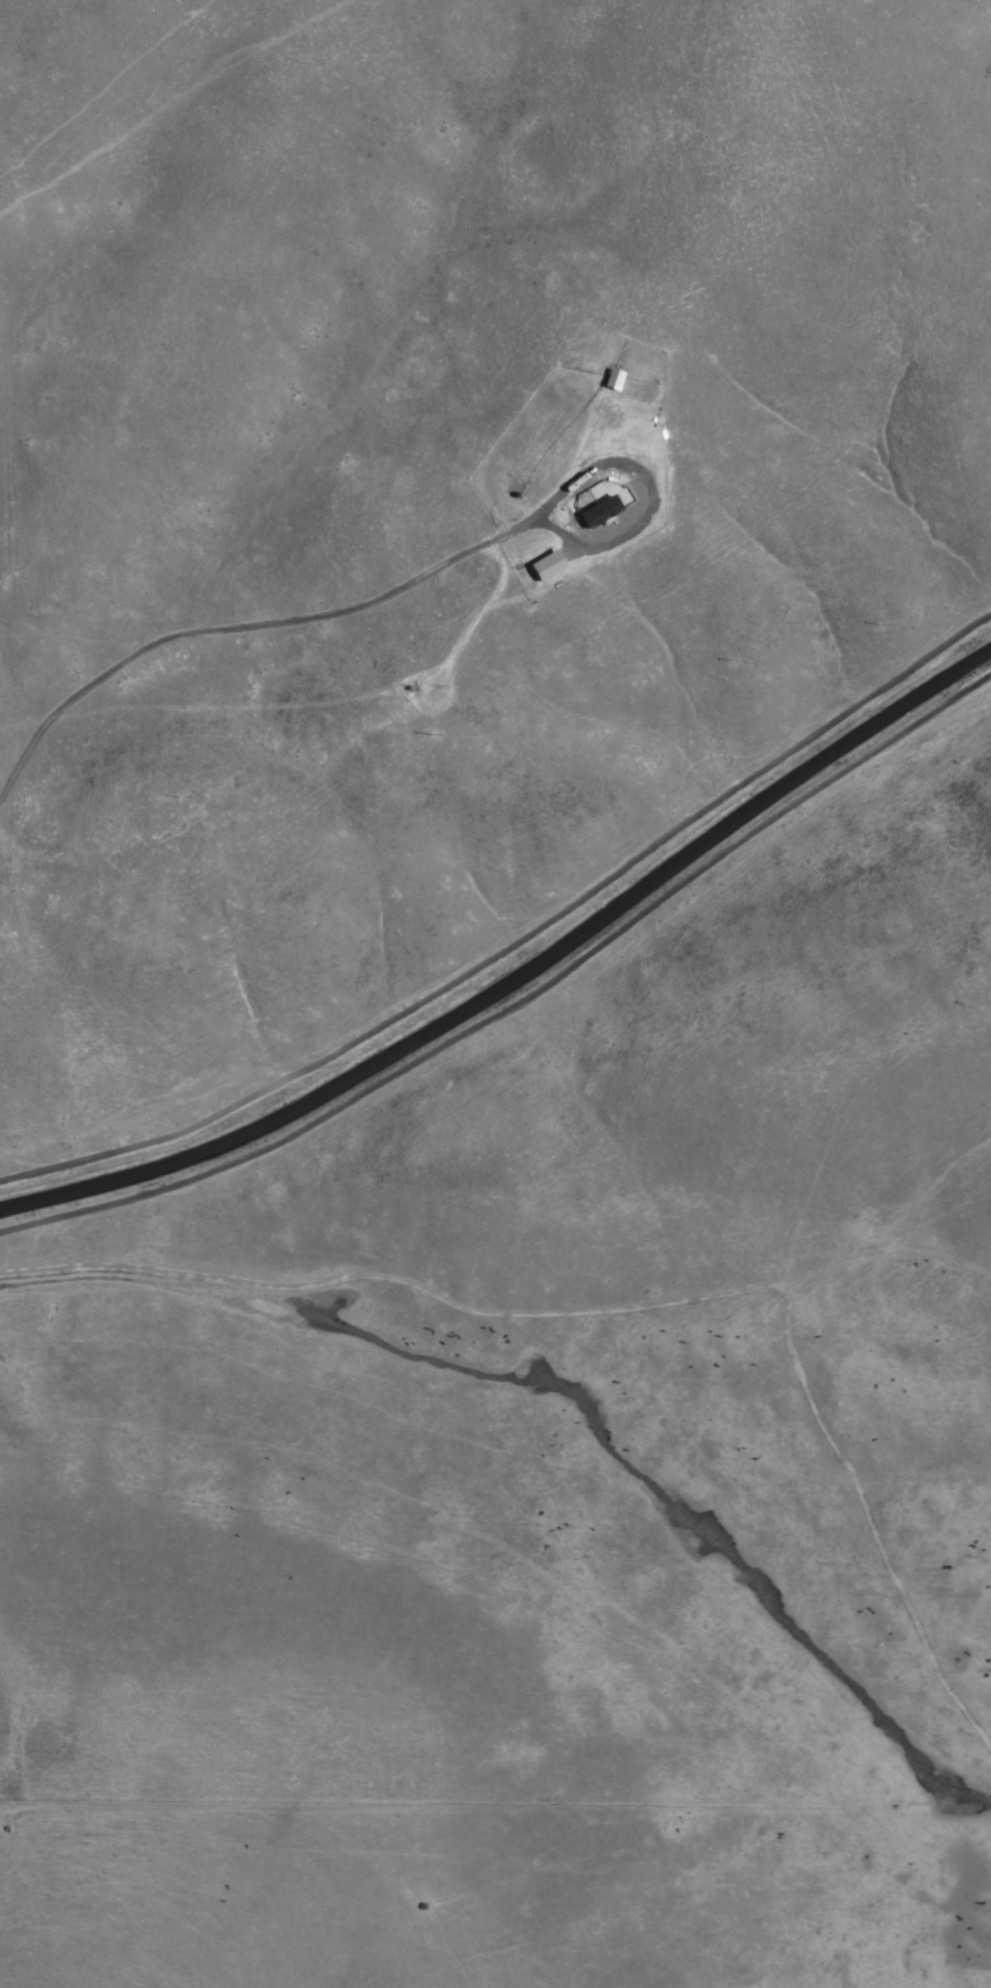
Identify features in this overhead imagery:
road: (518, 976)

